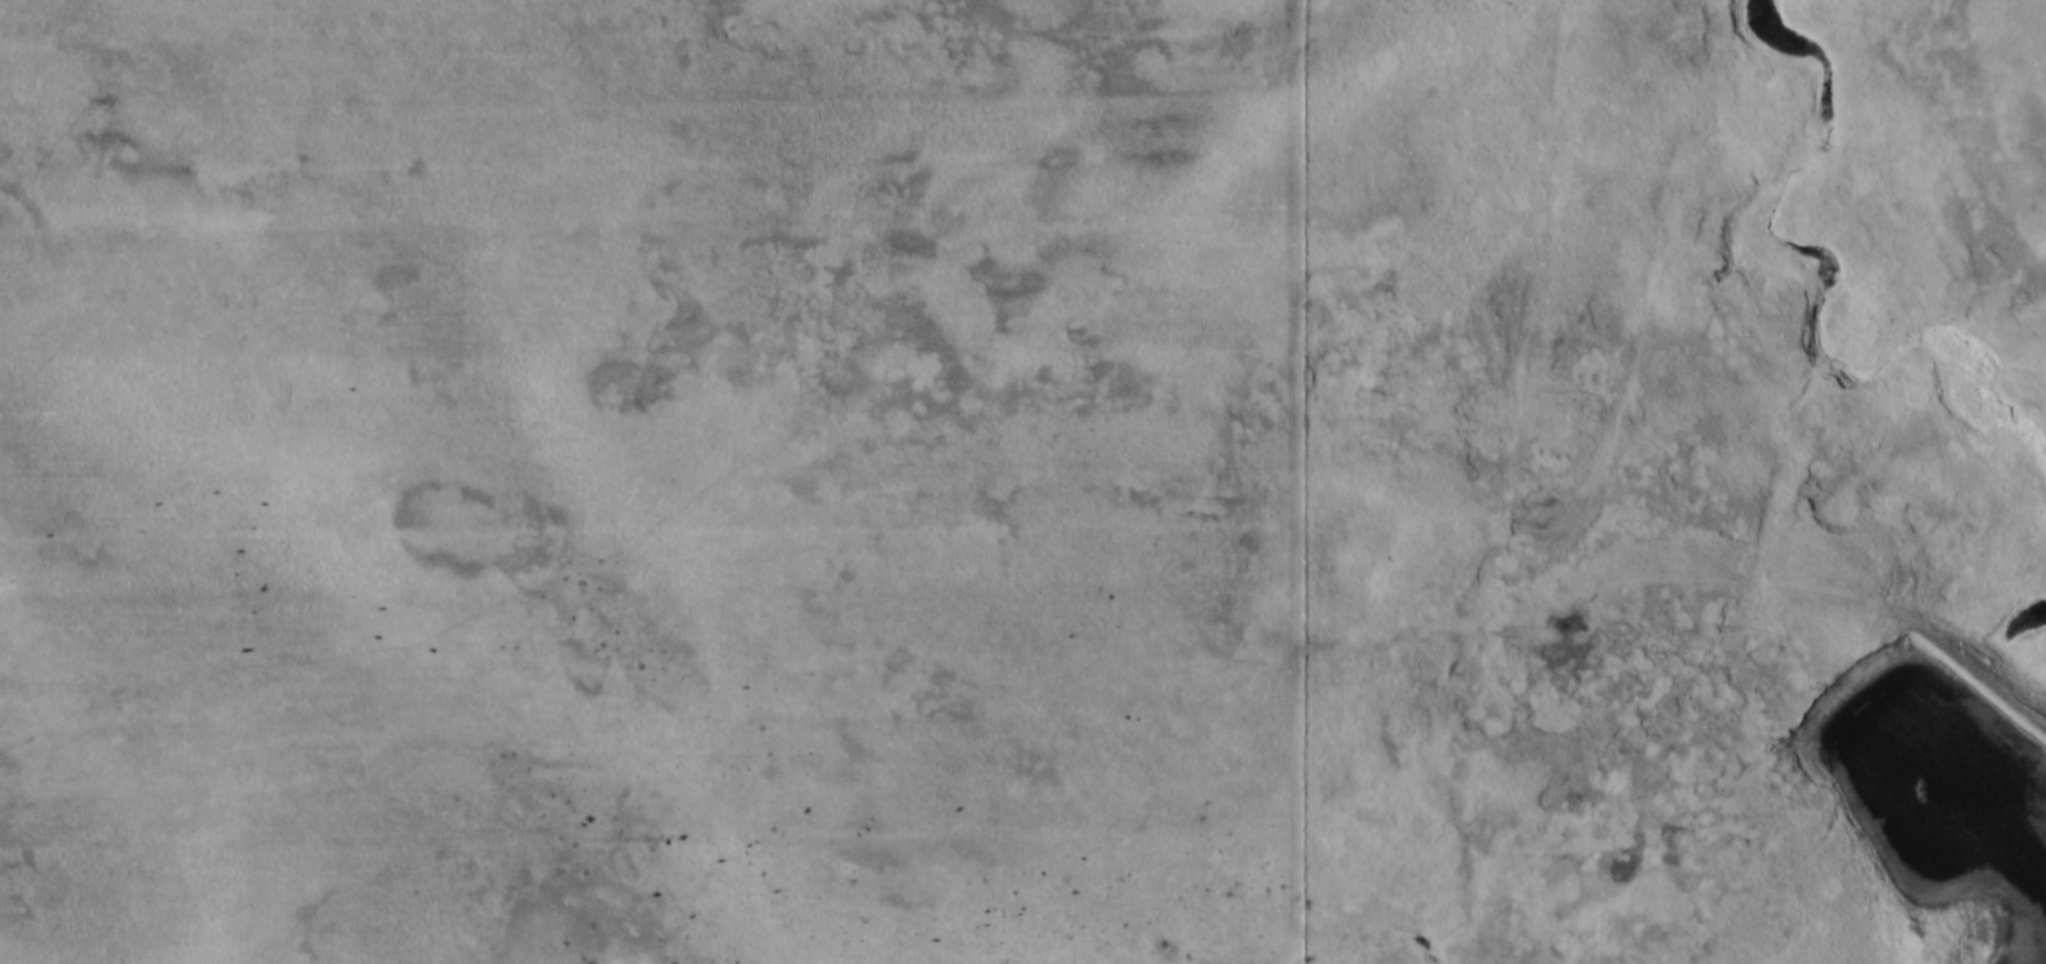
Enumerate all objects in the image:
road: (1294, 458)
dam: (1980, 676)

